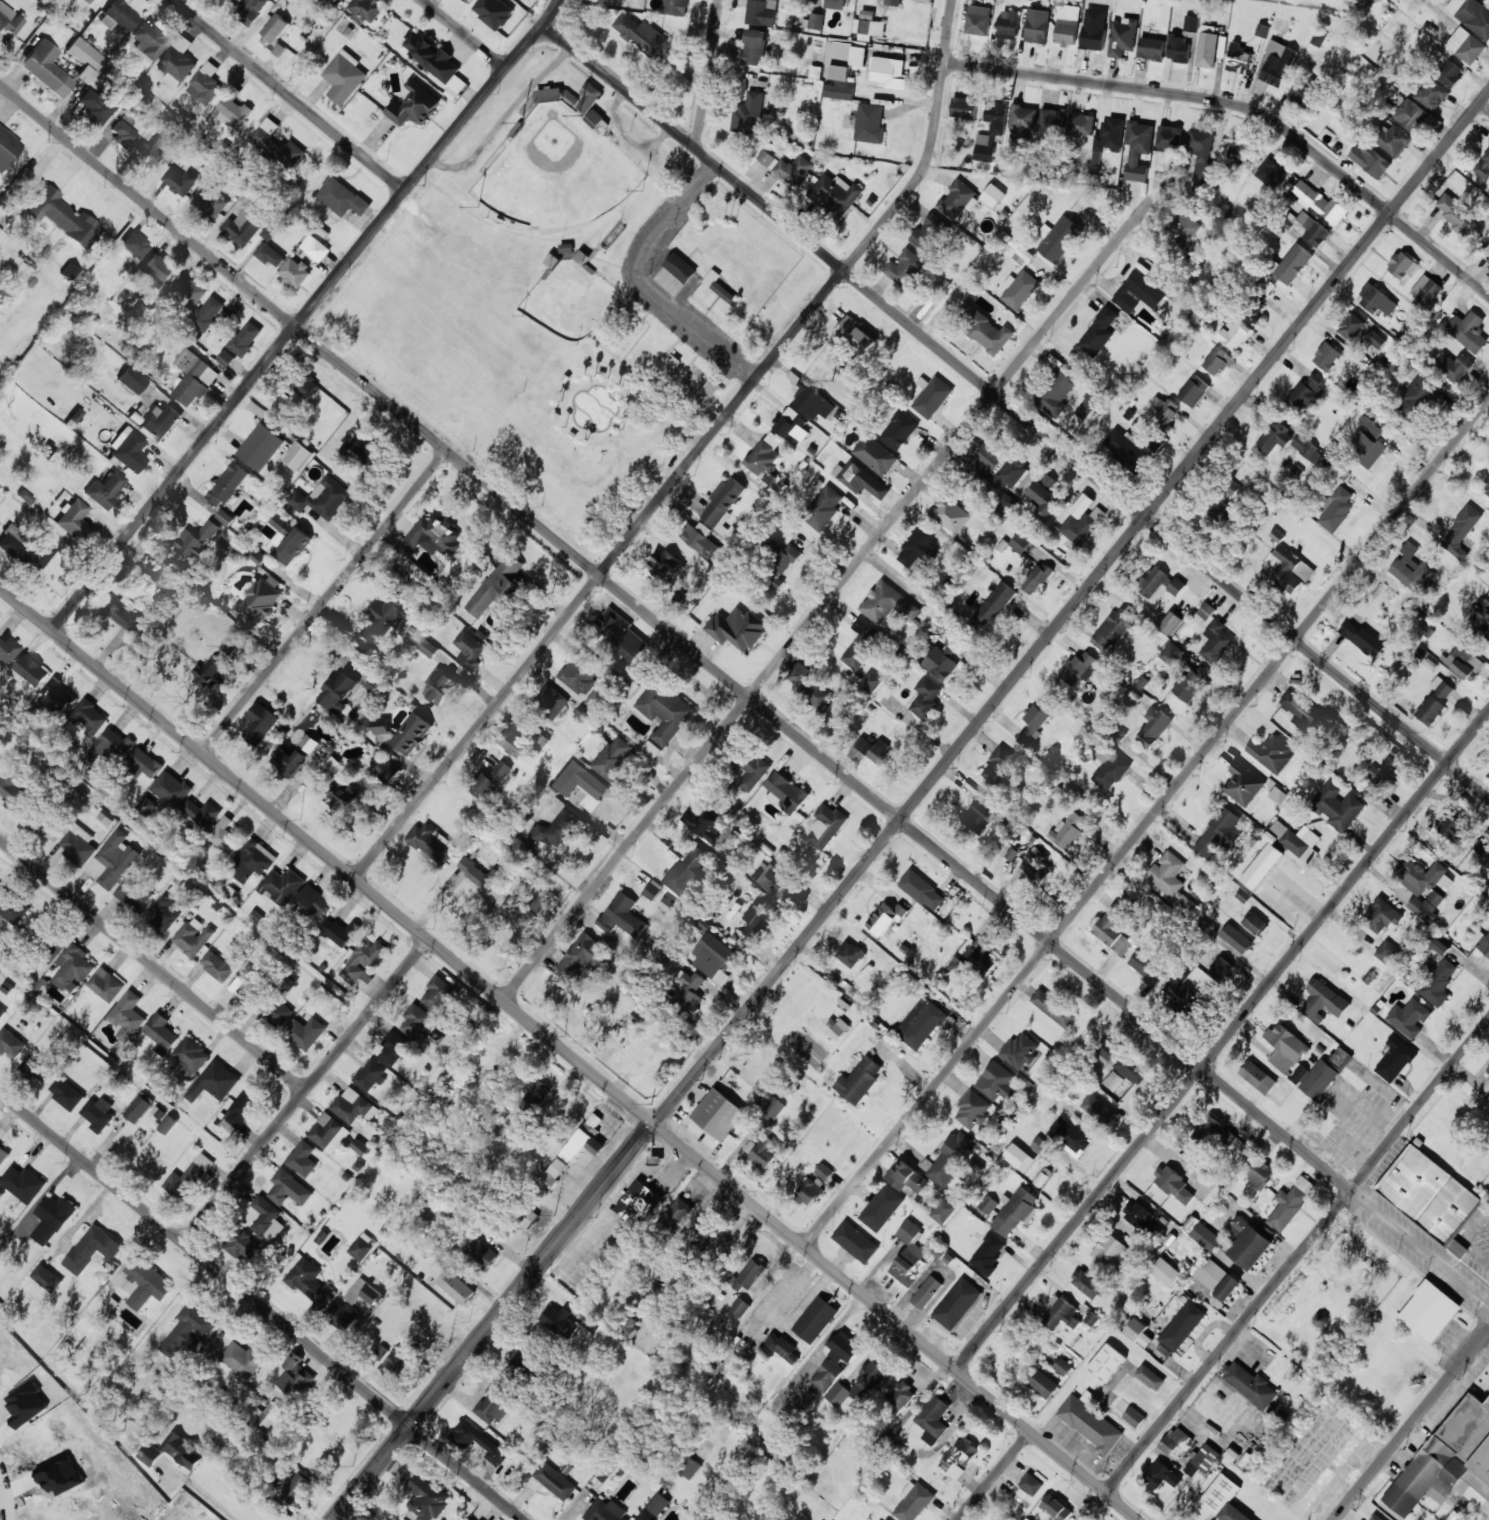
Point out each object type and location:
building: (469, 0)
building: (86, 1)
building: (1488, 1)
building: (893, 2)
building: (835, 4)
building: (676, 7)
building: (364, 10)
building: (252, 11)
building: (493, 12)
building: (761, 12)
building: (1471, 15)
building: (118, 16)
building: (9, 19)
building: (978, 20)
building: (816, 21)
building: (1191, 23)
building: (1008, 24)
building: (1037, 25)
building: (1067, 25)
building: (1281, 25)
building: (275, 27)
building: (868, 29)
building: (1262, 30)
road: (468, 31)
building: (640, 33)
building: (1122, 36)
building: (1093, 37)
building: (1317, 39)
building: (148, 42)
building: (1465, 45)
building: (755, 46)
building: (1151, 48)
building: (1179, 48)
building: (844, 57)
building: (1238, 58)
building: (84, 59)
building: (435, 61)
building: (1277, 63)
building: (175, 65)
building: (45, 68)
building: (888, 72)
building: (1450, 73)
road: (707, 74)
building: (344, 76)
building: (205, 84)
building: (838, 91)
building: (1303, 92)
building: (549, 94)
building: (1432, 94)
road: (290, 95)
building: (588, 97)
building: (414, 105)
building: (963, 107)
building: (94, 108)
road: (1245, 110)
building: (749, 112)
building: (234, 113)
building: (1411, 115)
building: (598, 118)
building: (1021, 120)
building: (1052, 120)
building: (165, 121)
building: (869, 123)
building: (1082, 123)
building: (990, 132)
building: (123, 135)
building: (1110, 135)
building: (1169, 137)
building: (1395, 140)
building: (269, 144)
building: (7, 147)
building: (1138, 149)
building: (1239, 153)
building: (151, 154)
building: (1200, 155)
building: (1370, 159)
building: (1483, 166)
park: (555, 167)
building: (788, 167)
building: (1271, 173)
building: (180, 181)
building: (835, 194)
building: (993, 194)
building: (250, 196)
building: (342, 197)
building: (957, 199)
building: (1320, 202)
building: (209, 204)
building: (1459, 216)
building: (63, 217)
road: (668, 221)
building: (243, 226)
building: (1185, 229)
building: (1313, 229)
building: (269, 232)
building: (929, 232)
building: (0, 235)
building: (1058, 238)
building: (134, 244)
building: (315, 247)
building: (269, 254)
building: (1022, 256)
building: (1488, 259)
building: (1293, 263)
building: (1402, 265)
building: (680, 267)
building: (904, 267)
building: (295, 272)
building: (70, 273)
building: (1267, 285)
building: (718, 286)
building: (1019, 289)
building: (1426, 289)
building: (187, 290)
building: (1138, 292)
building: (1377, 300)
building: (1256, 312)
building: (207, 313)
road: (305, 315)
building: (1351, 326)
building: (985, 330)
building: (1468, 330)
road: (703, 331)
building: (1098, 332)
building: (1235, 333)
building: (854, 335)
building: (245, 338)
building: (1375, 339)
building: (1326, 356)
building: (226, 358)
building: (1217, 360)
building: (1453, 366)
building: (194, 377)
building: (131, 380)
building: (305, 384)
building: (1194, 390)
building: (709, 391)
building: (1056, 391)
building: (1308, 391)
building: (932, 396)
building: (1417, 396)
building: (813, 403)
road: (1016, 411)
building: (1165, 413)
building: (75, 415)
building: (160, 421)
building: (792, 424)
building: (899, 429)
building: (1274, 437)
building: (1366, 442)
building: (260, 446)
building: (1124, 447)
building: (1307, 448)
building: (128, 449)
building: (369, 451)
building: (766, 454)
building: (875, 454)
building: (297, 456)
road: (693, 456)
building: (985, 459)
building: (1009, 474)
building: (862, 480)
building: (227, 484)
building: (1486, 487)
building: (105, 489)
building: (1044, 496)
building: (321, 497)
building: (723, 503)
building: (1004, 503)
building: (1081, 505)
building: (823, 509)
building: (1336, 509)
building: (1223, 511)
building: (949, 514)
building: (225, 517)
building: (72, 518)
building: (1081, 526)
building: (1460, 532)
building: (433, 535)
building: (197, 538)
building: (700, 539)
building: (1020, 542)
building: (293, 546)
building: (918, 547)
building: (24, 549)
building: (665, 564)
building: (781, 565)
building: (1413, 567)
building: (1287, 568)
building: (152, 574)
building: (1037, 577)
building: (1159, 584)
building: (497, 586)
road: (324, 601)
road: (825, 601)
building: (257, 602)
building: (887, 603)
building: (994, 604)
building: (123, 613)
building: (1204, 613)
building: (1481, 616)
building: (386, 617)
building: (1170, 622)
building: (737, 628)
building: (1113, 629)
building: (620, 633)
building: (1360, 636)
building: (1216, 641)
building: (230, 642)
building: (861, 643)
building: (427, 647)
building: (7, 650)
building: (469, 650)
building: (1171, 653)
building: (943, 658)
building: (1464, 662)
building: (1080, 667)
building: (31, 669)
building: (581, 672)
building: (213, 674)
building: (1190, 680)
building: (869, 682)
building: (807, 685)
building: (1441, 686)
building: (338, 692)
road: (745, 692)
building: (57, 695)
building: (926, 697)
building: (598, 698)
building: (553, 703)
building: (1430, 710)
building: (665, 711)
building: (1304, 711)
building: (90, 717)
building: (1037, 719)
building: (260, 724)
building: (382, 726)
building: (1153, 726)
building: (412, 733)
building: (541, 742)
building: (309, 743)
building: (513, 743)
building: (108, 746)
building: (874, 749)
building: (1272, 752)
building: (612, 757)
building: (288, 761)
building: (1, 763)
building: (143, 763)
building: (999, 766)
building: (1109, 767)
building: (387, 770)
building: (753, 770)
building: (1382, 777)
building: (489, 779)
building: (1243, 783)
building: (582, 784)
building: (170, 788)
building: (14, 792)
building: (786, 792)
building: (343, 795)
building: (147, 805)
road: (910, 805)
building: (1337, 805)
building: (201, 812)
building: (978, 815)
road: (1146, 822)
building: (705, 826)
building: (826, 827)
building: (1452, 828)
building: (50, 829)
building: (556, 829)
building: (1066, 830)
building: (1216, 832)
building: (225, 836)
building: (1299, 842)
building: (432, 843)
building: (78, 845)
building: (113, 859)
building: (252, 861)
building: (1261, 866)
building: (686, 872)
building: (479, 873)
building: (1037, 873)
building: (1167, 873)
building: (1421, 874)
building: (778, 883)
building: (282, 885)
building: (652, 889)
building: (922, 889)
building: (133, 892)
building: (314, 901)
building: (1426, 904)
building: (11, 907)
building: (524, 909)
building: (166, 911)
building: (621, 915)
building: (758, 916)
building: (1382, 916)
building: (885, 918)
building: (1256, 923)
building: (1115, 926)
building: (340, 931)
building: (193, 937)
building: (1236, 938)
building: (1485, 944)
building: (1440, 946)
building: (1386, 951)
building: (850, 953)
building: (581, 955)
building: (714, 955)
building: (973, 958)
building: (363, 961)
road: (153, 963)
building: (216, 966)
building: (1146, 967)
building: (1221, 967)
building: (73, 968)
building: (245, 981)
building: (1437, 981)
building: (106, 984)
building: (1177, 989)
building: (438, 993)
building: (690, 993)
building: (1323, 1001)
building: (1053, 1008)
building: (2, 1013)
building: (127, 1015)
building: (281, 1015)
building: (1409, 1017)
building: (416, 1021)
building: (921, 1023)
building: (839, 1029)
building: (305, 1032)
building: (161, 1033)
road: (1222, 1040)
building: (10, 1043)
building: (1285, 1047)
building: (392, 1048)
building: (1020, 1050)
building: (1104, 1050)
road: (570, 1053)
building: (191, 1054)
building: (1340, 1057)
building: (1394, 1058)
building: (37, 1065)
building: (1487, 1067)
building: (1131, 1068)
building: (1300, 1073)
building: (369, 1075)
building: (1258, 1077)
building: (1319, 1079)
building: (859, 1080)
building: (1113, 1080)
building: (213, 1081)
building: (996, 1082)
road: (305, 1089)
building: (539, 1089)
building: (66, 1093)
building: (1488, 1101)
building: (351, 1105)
building: (242, 1106)
building: (137, 1108)
building: (773, 1109)
building: (972, 1109)
building: (1099, 1109)
building: (99, 1113)
building: (718, 1114)
building: (167, 1124)
building: (328, 1133)
building: (1215, 1134)
building: (1070, 1136)
building: (585, 1139)
building: (764, 1153)
building: (3, 1154)
building: (1019, 1157)
building: (951, 1158)
building: (302, 1159)
building: (554, 1171)
building: (824, 1171)
building: (1259, 1172)
building: (187, 1177)
building: (906, 1177)
building: (23, 1183)
building: (1173, 1184)
building: (288, 1188)
building: (810, 1190)
building: (1430, 1197)
building: (636, 1201)
building: (1290, 1203)
building: (988, 1204)
building: (881, 1208)
building: (944, 1209)
building: (1016, 1211)
building: (678, 1212)
building: (1137, 1214)
building: (52, 1217)
building: (266, 1217)
building: (529, 1218)
building: (1206, 1236)
building: (855, 1241)
building: (1248, 1243)
building: (241, 1244)
building: (362, 1246)
building: (92, 1248)
building: (908, 1252)
building: (1111, 1252)
building: (481, 1253)
building: (988, 1254)
road: (1297, 1255)
building: (1165, 1271)
building: (749, 1275)
building: (46, 1277)
building: (1216, 1278)
building: (307, 1279)
building: (146, 1283)
building: (1086, 1283)
building: (456, 1287)
building: (364, 1292)
building: (926, 1292)
building: (957, 1303)
road: (262, 1305)
building: (364, 1306)
building: (740, 1306)
building: (1430, 1311)
building: (1060, 1314)
building: (340, 1315)
building: (1091, 1318)
building: (815, 1319)
building: (559, 1320)
building: (1182, 1326)
building: (188, 1328)
building: (1135, 1329)
building: (843, 1346)
building: (783, 1347)
building: (380, 1351)
building: (400, 1358)
building: (241, 1360)
building: (1106, 1363)
building: (1062, 1366)
building: (294, 1375)
building: (827, 1375)
building: (1150, 1377)
building: (1043, 1384)
building: (1250, 1384)
building: (855, 1387)
building: (900, 1396)
building: (493, 1404)
building: (265, 1416)
building: (1134, 1417)
building: (933, 1419)
building: (1090, 1424)
road: (1412, 1424)
building: (1173, 1440)
building: (489, 1445)
building: (183, 1450)
building: (960, 1456)
building: (1202, 1459)
building: (1449, 1462)
building: (691, 1468)
road: (993, 1475)
building: (1160, 1476)
building: (554, 1481)
building: (1031, 1483)
building: (296, 1489)
building: (426, 1497)
road: (4, 1498)
building: (1223, 1499)
building: (913, 1501)
building: (654, 1507)
building: (1055, 1507)
building: (184, 1509)
building: (605, 1511)
building: (468, 1519)
building: (480, 1519)
building: (886, 1519)
building: (999, 1519)

